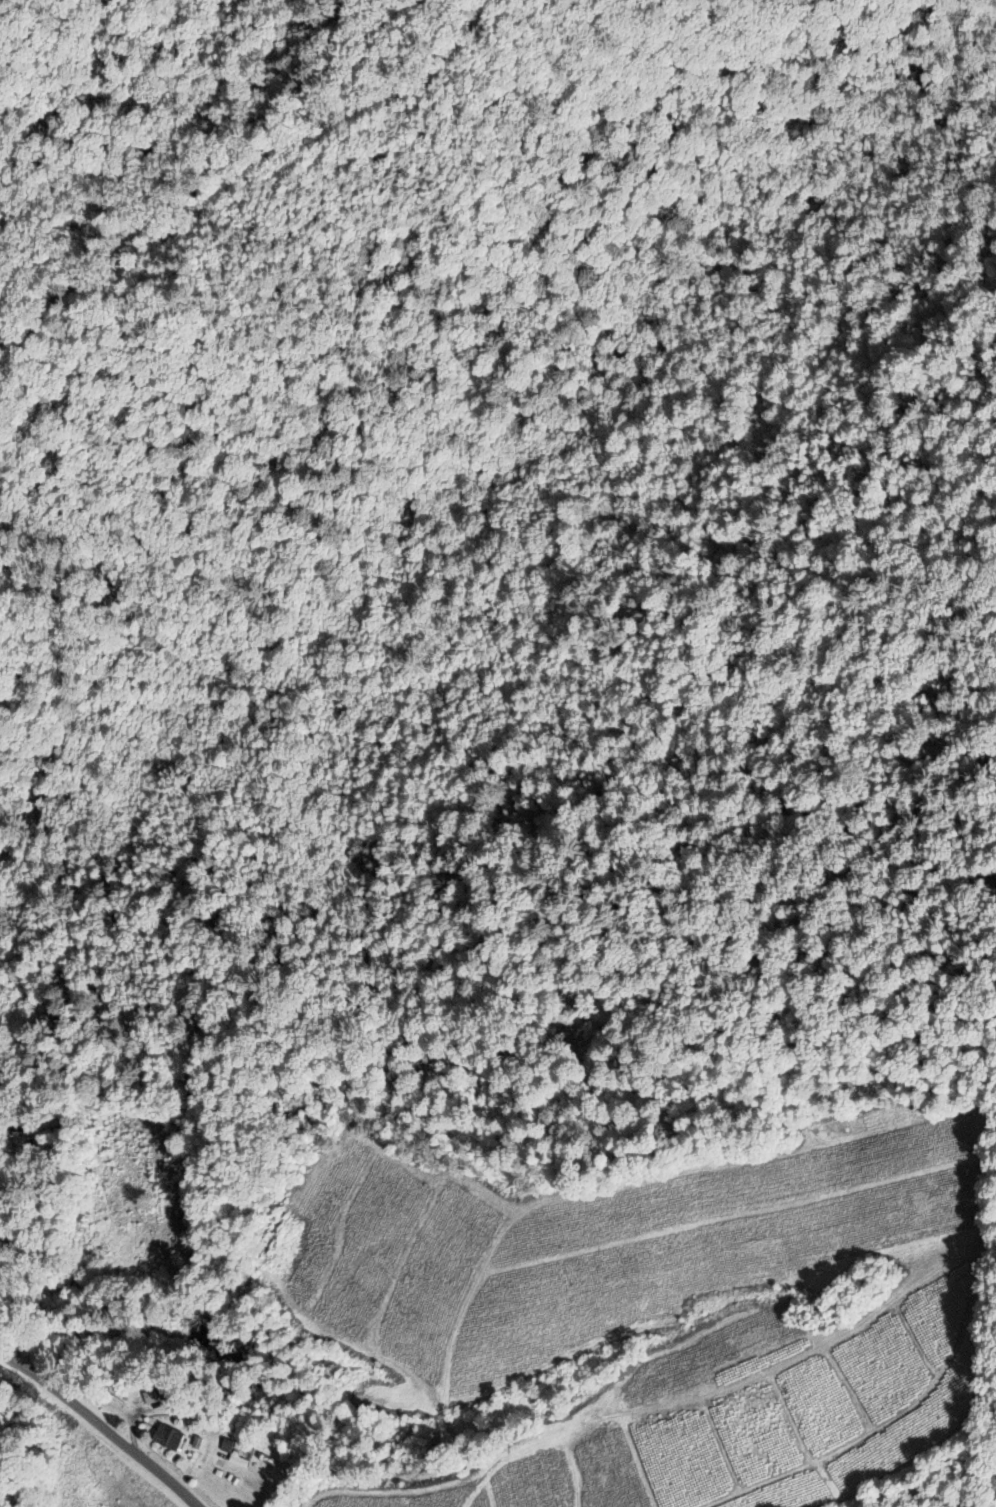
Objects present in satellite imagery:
road: (483, 599)
road: (85, 1394)
road: (99, 1426)
road: (348, 1476)

